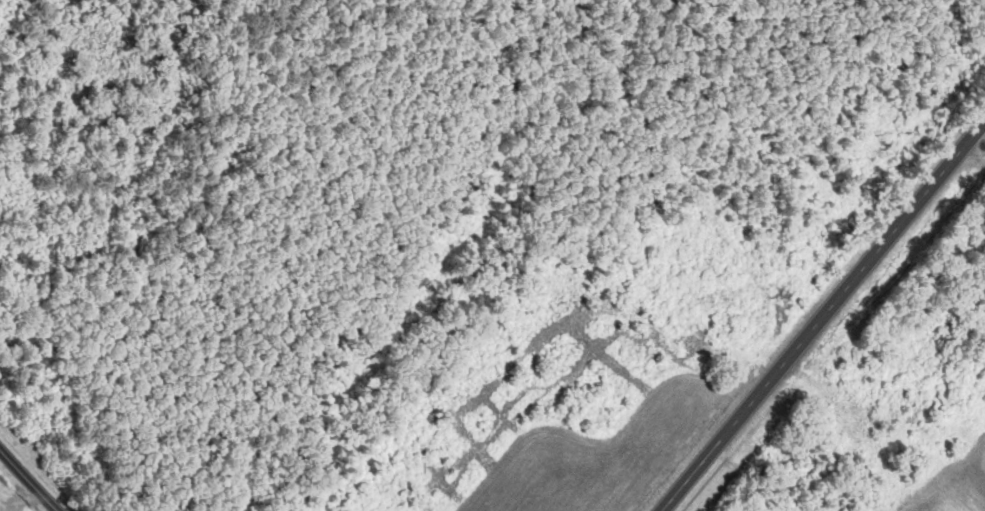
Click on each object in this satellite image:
road: (823, 315)
road: (28, 480)

